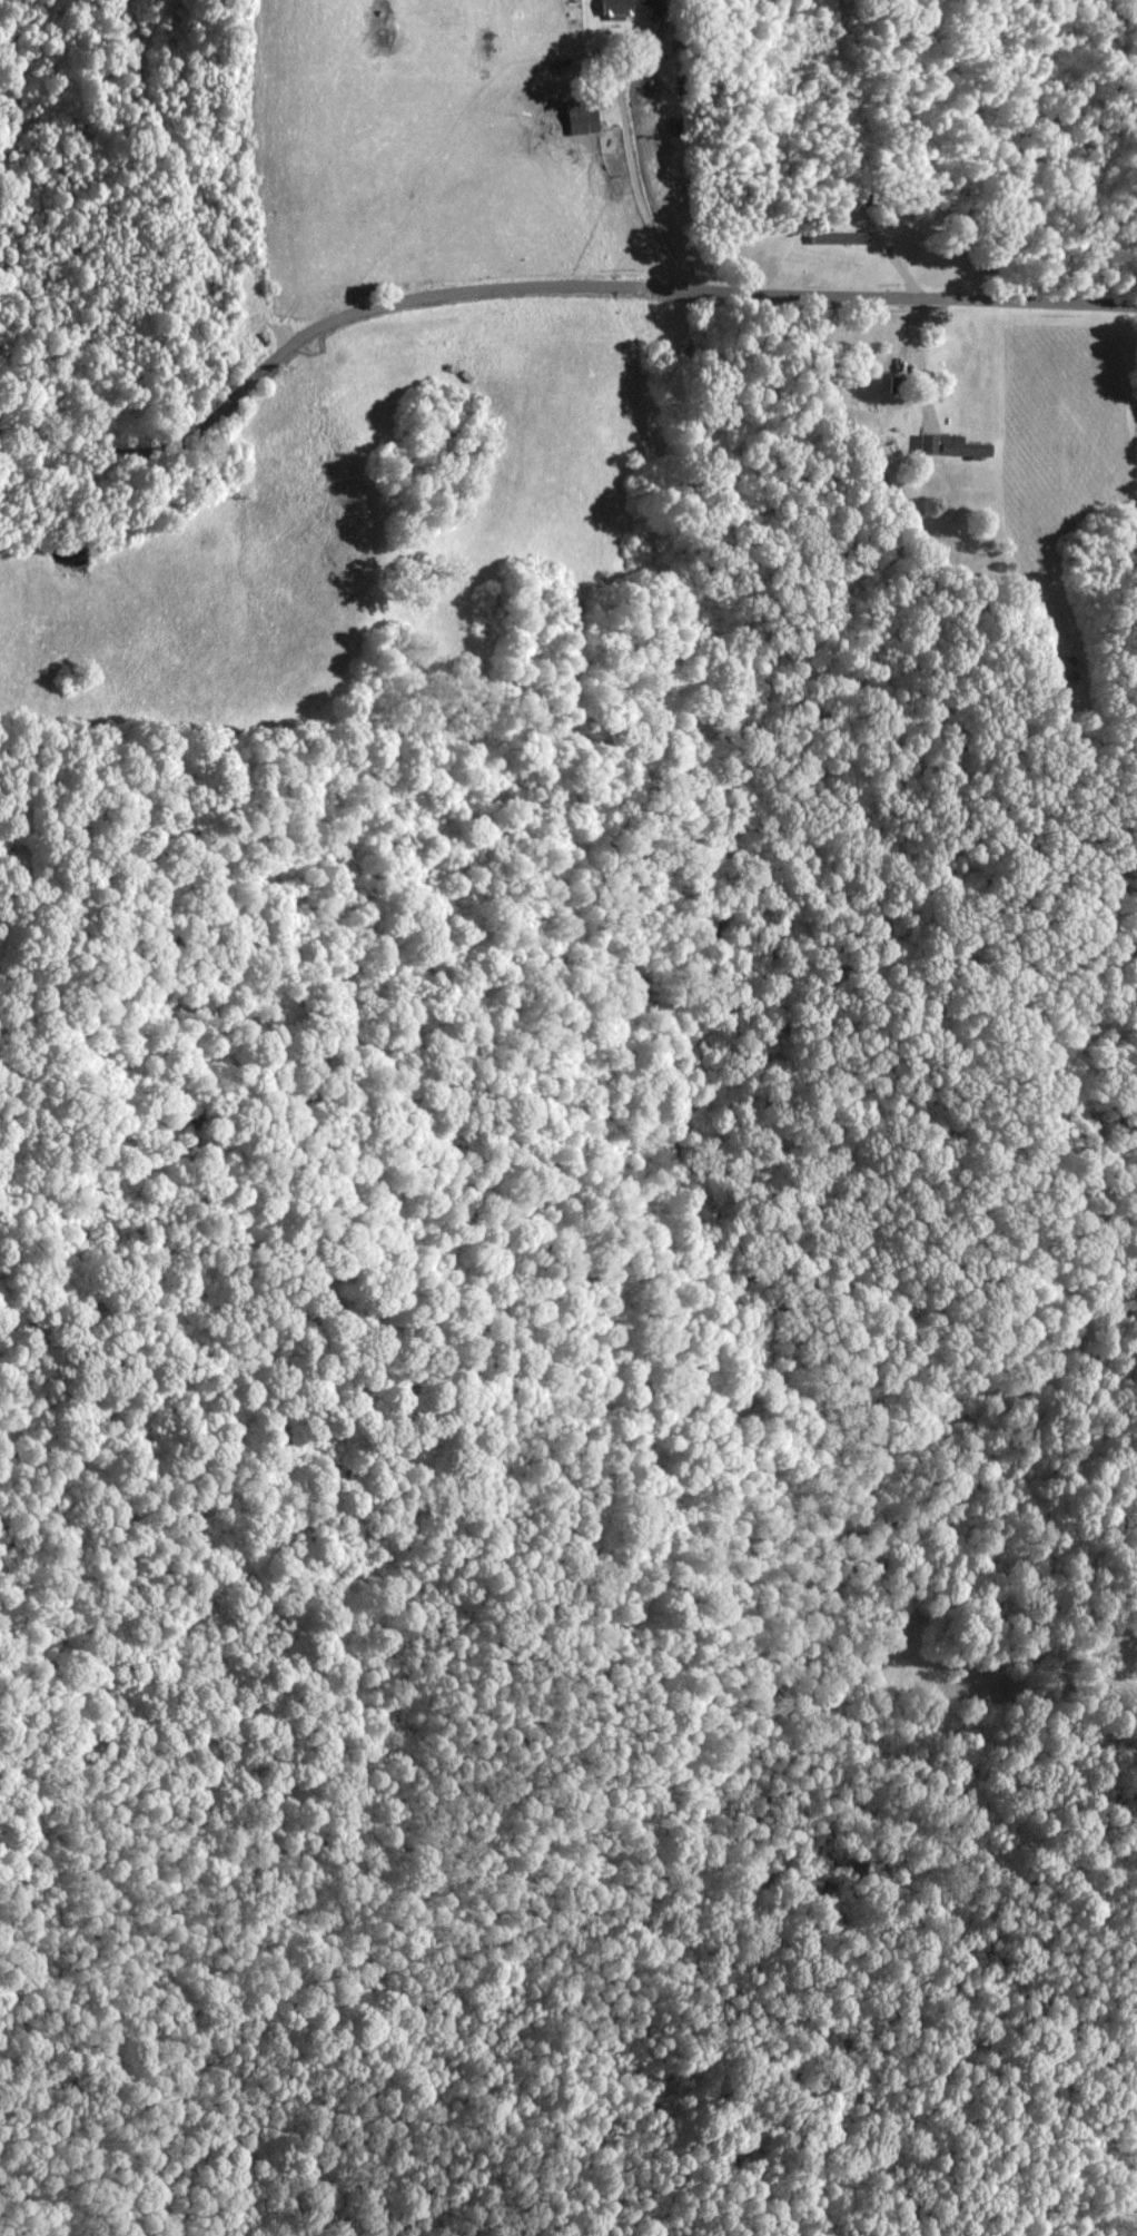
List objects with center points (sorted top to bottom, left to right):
building: (659, 6)
building: (615, 9)
building: (570, 119)
building: (838, 238)
road: (543, 283)
building: (949, 447)

